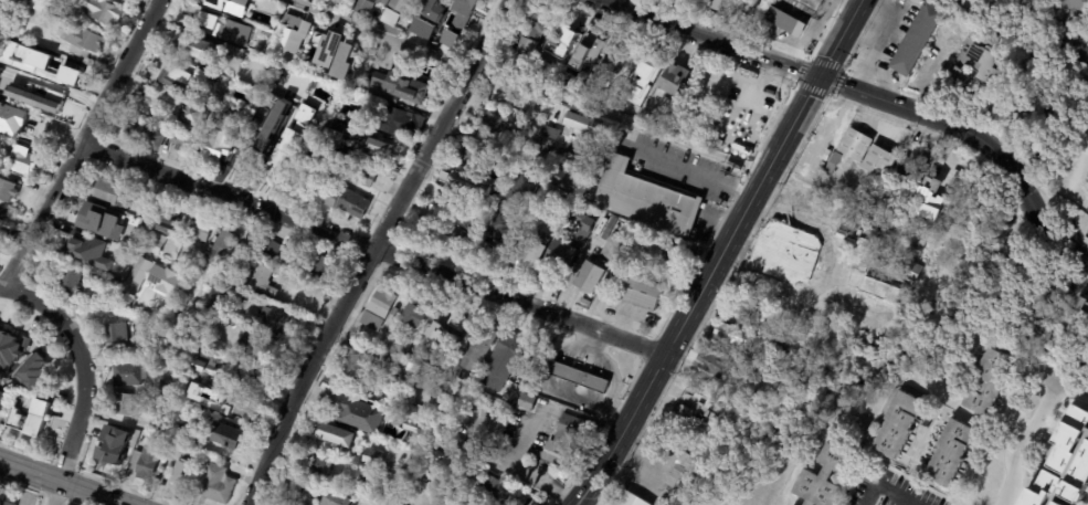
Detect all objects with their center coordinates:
building: (124, 0)
building: (239, 2)
building: (214, 4)
building: (810, 4)
building: (45, 6)
building: (363, 6)
building: (722, 6)
building: (748, 7)
building: (964, 7)
building: (1074, 8)
building: (432, 10)
building: (468, 10)
building: (104, 11)
building: (391, 12)
building: (36, 19)
building: (207, 19)
building: (783, 24)
building: (56, 25)
building: (421, 28)
building: (516, 30)
building: (232, 31)
building: (961, 31)
building: (292, 34)
building: (447, 38)
building: (82, 39)
building: (529, 39)
building: (436, 41)
building: (916, 41)
building: (560, 43)
building: (329, 46)
building: (930, 46)
road: (1074, 49)
building: (192, 50)
building: (23, 56)
building: (585, 56)
building: (615, 59)
building: (346, 60)
building: (978, 61)
building: (0, 70)
building: (71, 70)
building: (540, 70)
road: (816, 74)
traffic signals: (817, 75)
building: (171, 77)
building: (202, 77)
building: (568, 81)
building: (674, 81)
building: (643, 82)
building: (287, 85)
road: (529, 86)
building: (398, 88)
building: (727, 90)
building: (56, 97)
building: (213, 98)
building: (1024, 102)
building: (721, 115)
building: (11, 119)
building: (190, 119)
building: (257, 120)
building: (1004, 122)
building: (389, 123)
building: (490, 125)
building: (578, 125)
building: (272, 126)
building: (697, 129)
building: (731, 129)
building: (141, 134)
building: (551, 134)
building: (293, 139)
building: (179, 140)
building: (215, 141)
road: (80, 143)
building: (372, 144)
building: (853, 144)
building: (475, 155)
building: (825, 155)
building: (327, 157)
building: (247, 159)
building: (314, 160)
building: (21, 162)
building: (878, 162)
building: (820, 164)
building: (832, 164)
building: (911, 164)
building: (498, 172)
road: (693, 173)
building: (282, 175)
building: (358, 176)
building: (563, 182)
building: (461, 186)
building: (500, 188)
building: (8, 190)
building: (110, 192)
road: (1021, 192)
building: (587, 193)
building: (866, 194)
building: (643, 199)
building: (925, 200)
building: (138, 202)
building: (345, 203)
building: (151, 211)
building: (509, 211)
building: (3, 212)
building: (442, 218)
building: (98, 221)
building: (602, 222)
building: (169, 223)
building: (608, 229)
building: (203, 230)
building: (855, 238)
road: (1052, 238)
building: (97, 240)
building: (462, 240)
building: (133, 241)
building: (158, 242)
building: (580, 242)
building: (77, 245)
building: (222, 246)
building: (611, 248)
road: (371, 249)
road: (380, 251)
building: (668, 253)
road: (719, 253)
building: (784, 254)
building: (527, 255)
building: (184, 260)
building: (302, 260)
building: (906, 267)
building: (72, 276)
building: (151, 276)
building: (264, 280)
building: (588, 280)
building: (117, 283)
road: (0, 286)
building: (875, 292)
building: (245, 294)
building: (640, 295)
building: (216, 302)
building: (376, 308)
building: (743, 308)
building: (1080, 309)
building: (413, 315)
building: (179, 316)
building: (911, 316)
building: (276, 318)
building: (209, 324)
building: (445, 326)
building: (860, 328)
building: (837, 329)
building: (118, 333)
building: (818, 335)
building: (726, 338)
building: (249, 341)
building: (437, 341)
building: (391, 344)
building: (809, 344)
building: (1056, 344)
building: (781, 348)
building: (408, 349)
building: (20, 350)
building: (474, 351)
building: (543, 361)
building: (439, 362)
building: (500, 362)
building: (208, 364)
building: (363, 364)
building: (709, 364)
building: (33, 369)
building: (131, 374)
building: (256, 374)
road: (85, 377)
building: (577, 377)
building: (35, 382)
building: (980, 382)
building: (168, 385)
building: (205, 388)
building: (6, 389)
building: (2, 396)
building: (526, 402)
building: (125, 404)
building: (245, 404)
building: (714, 408)
building: (684, 411)
building: (353, 413)
building: (707, 415)
building: (32, 418)
building: (157, 422)
building: (859, 422)
building: (895, 425)
building: (413, 427)
building: (194, 431)
building: (229, 435)
building: (331, 435)
building: (564, 440)
building: (453, 443)
building: (110, 444)
road: (1033, 446)
building: (948, 453)
building: (437, 455)
building: (369, 457)
building: (147, 462)
building: (1064, 463)
building: (315, 465)
road: (525, 466)
building: (474, 470)
building: (680, 471)
building: (184, 474)
building: (823, 477)
road: (64, 482)
building: (220, 483)
building: (353, 485)
building: (496, 487)
building: (296, 493)
road: (878, 497)
building: (334, 498)
building: (628, 499)
building: (6, 502)
building: (388, 504)

